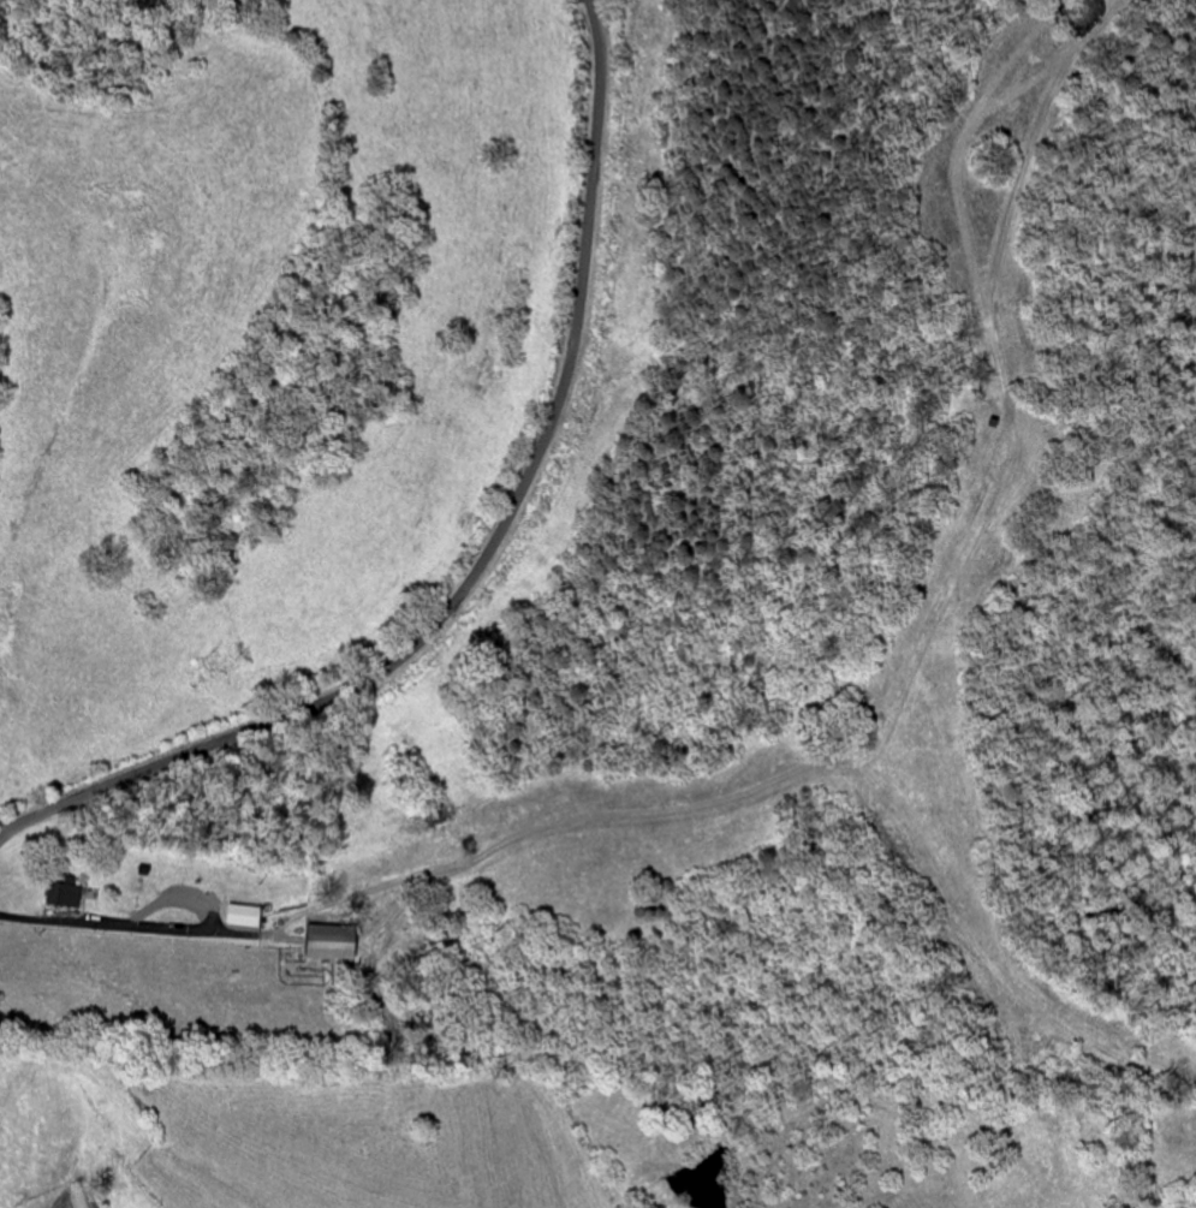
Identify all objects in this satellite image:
road: (488, 555)
road: (763, 684)
building: (69, 894)
building: (250, 916)
building: (339, 942)

